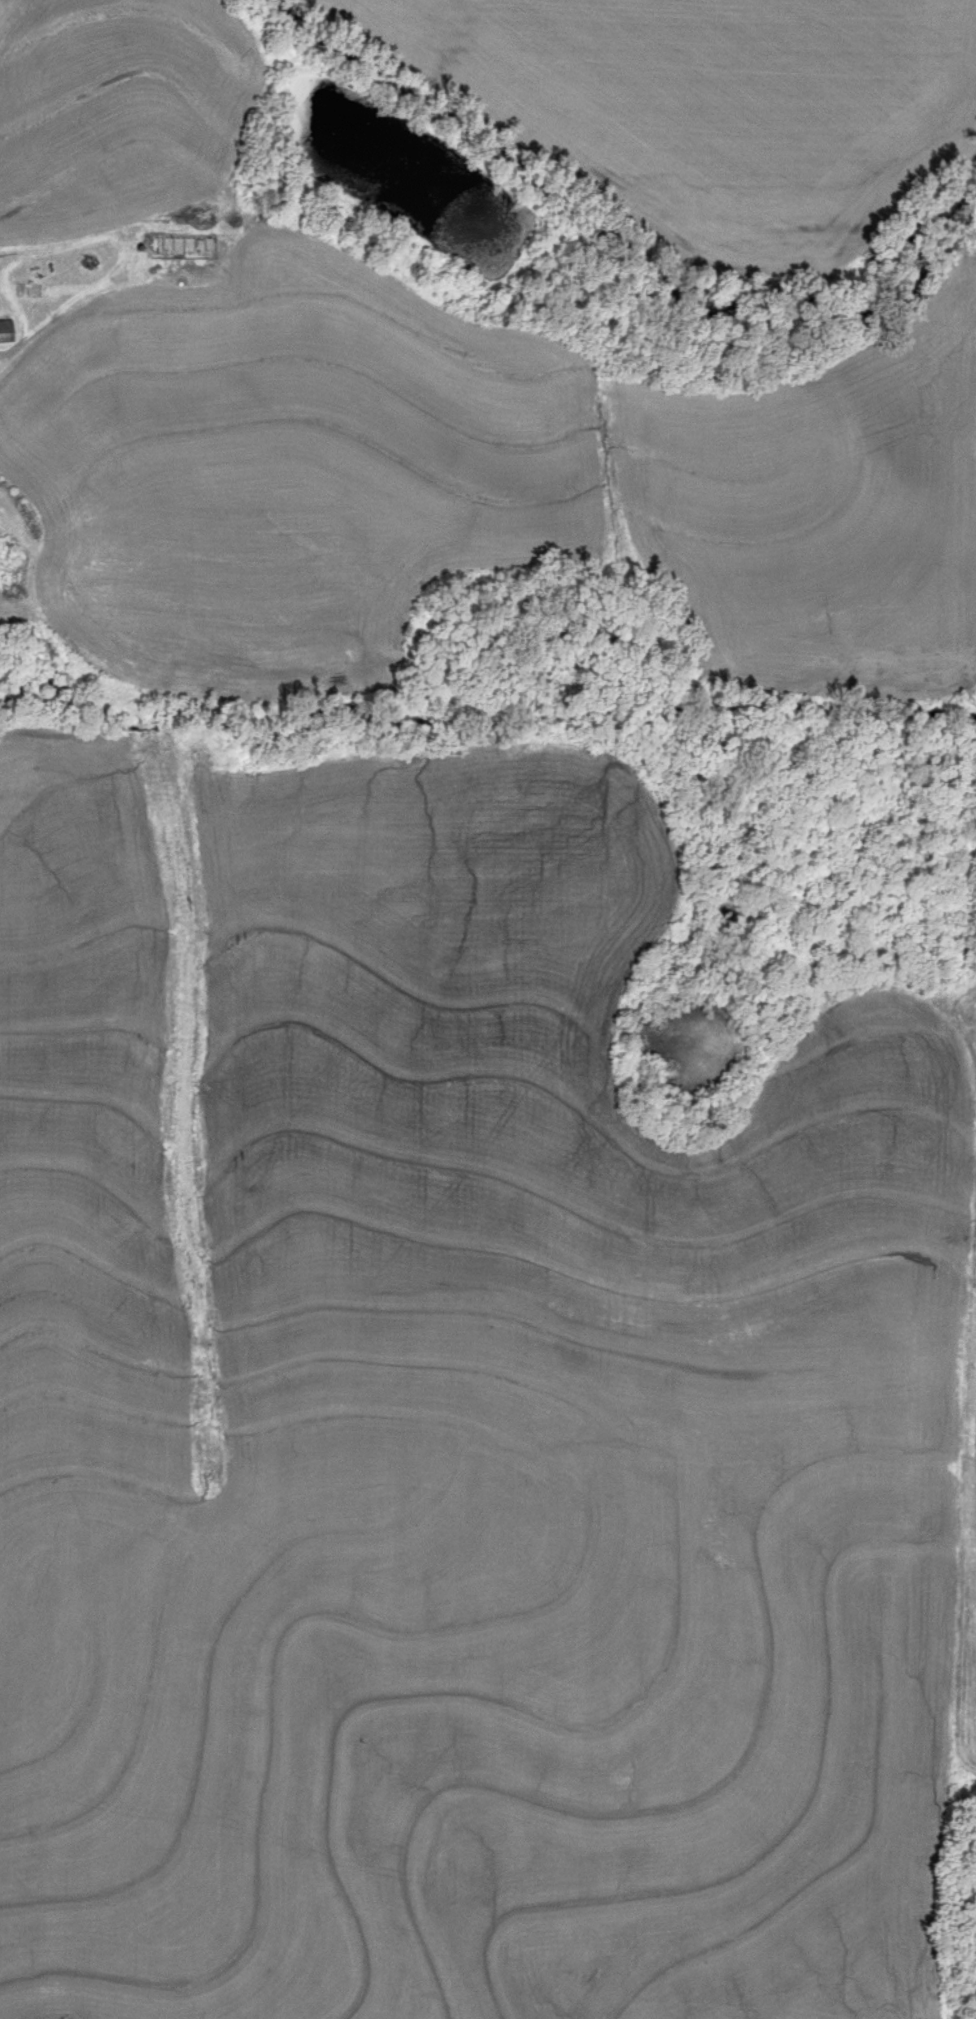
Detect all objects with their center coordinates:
building: (4, 333)

